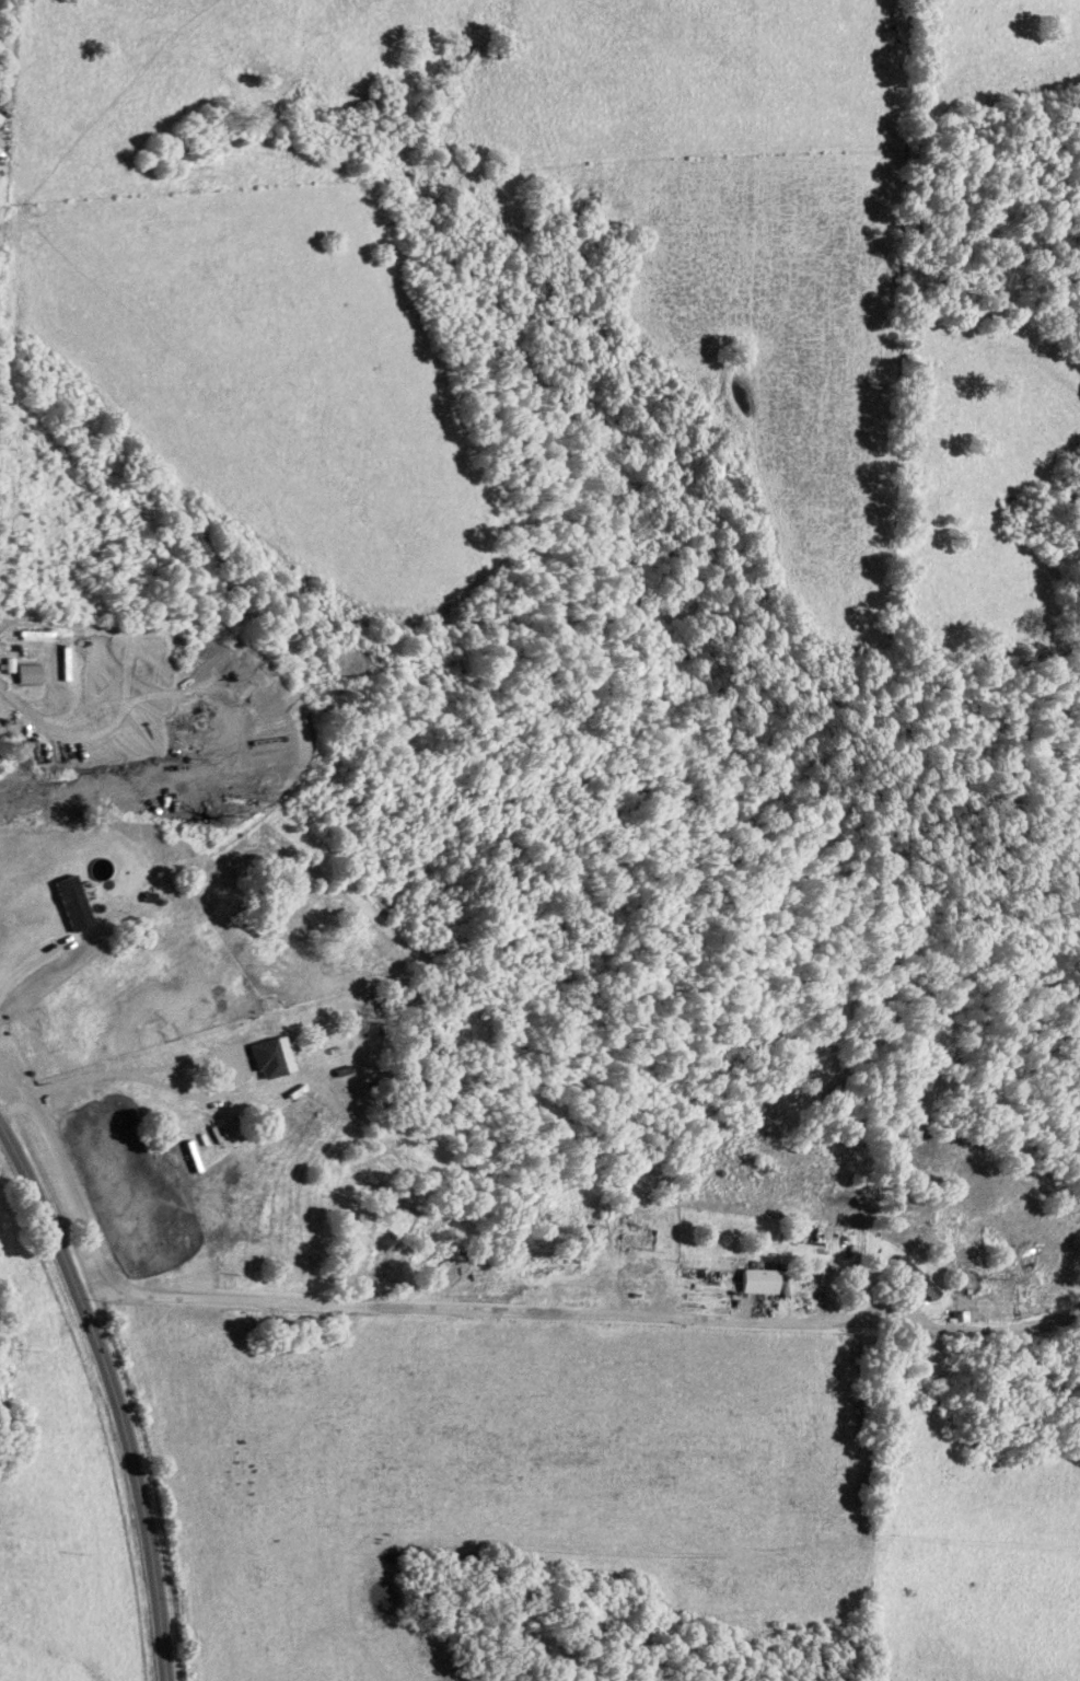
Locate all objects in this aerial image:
building: (0, 118)
building: (54, 657)
building: (27, 677)
building: (637, 1242)
building: (916, 1280)
building: (759, 1284)
road: (391, 1310)
road: (112, 1396)

